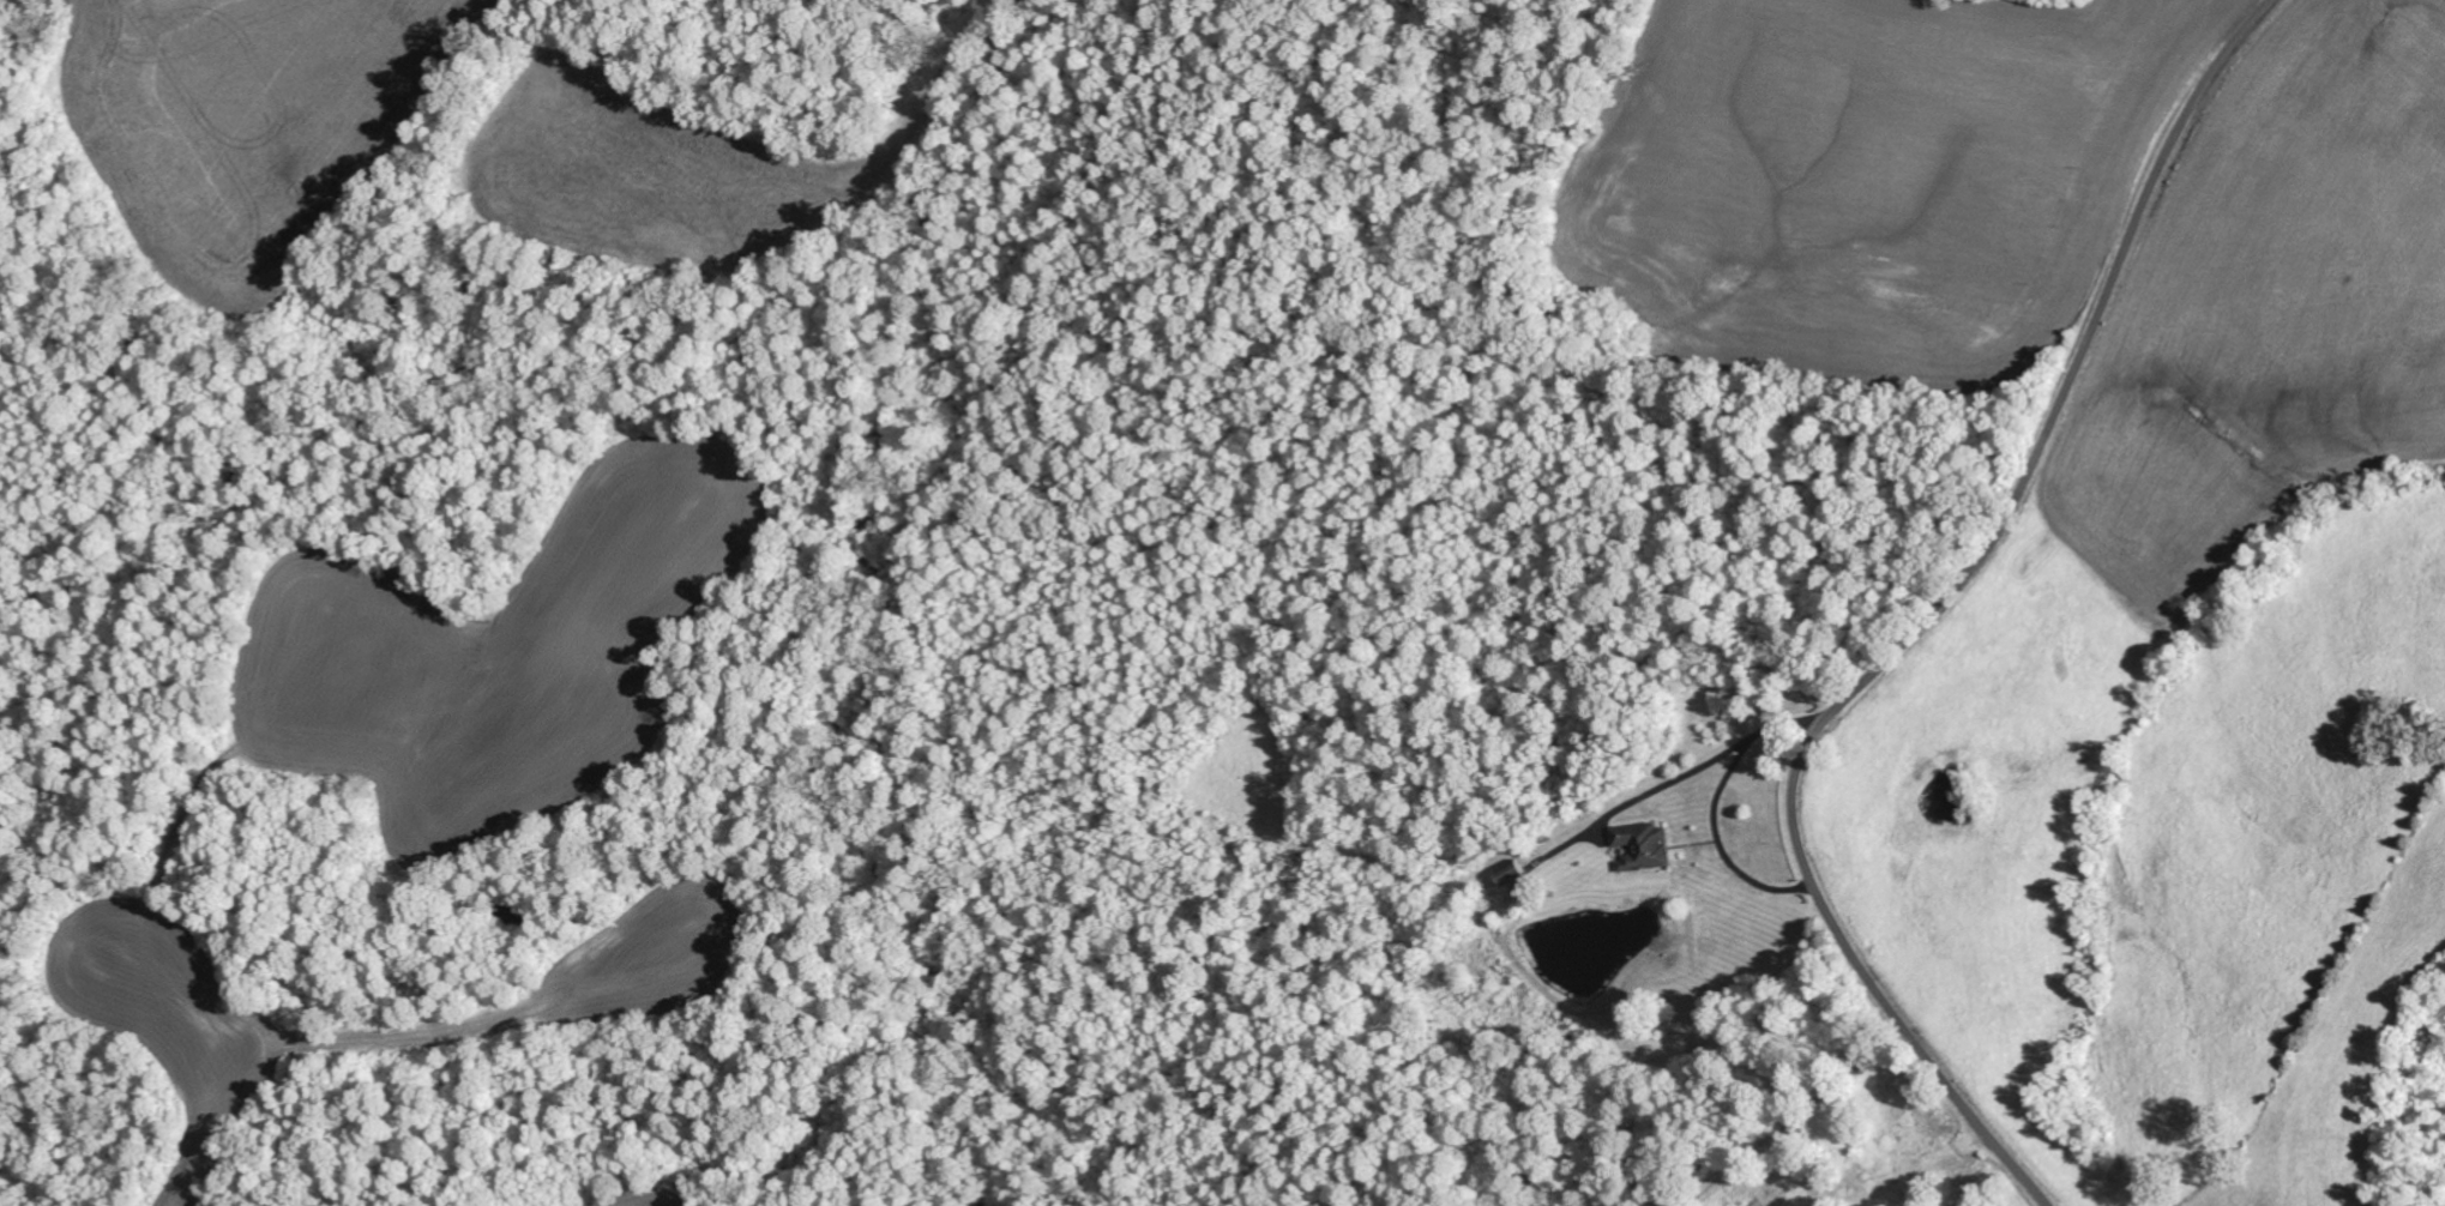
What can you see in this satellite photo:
road: (1971, 565)
building: (1646, 849)
building: (1517, 878)
road: (2001, 1151)

